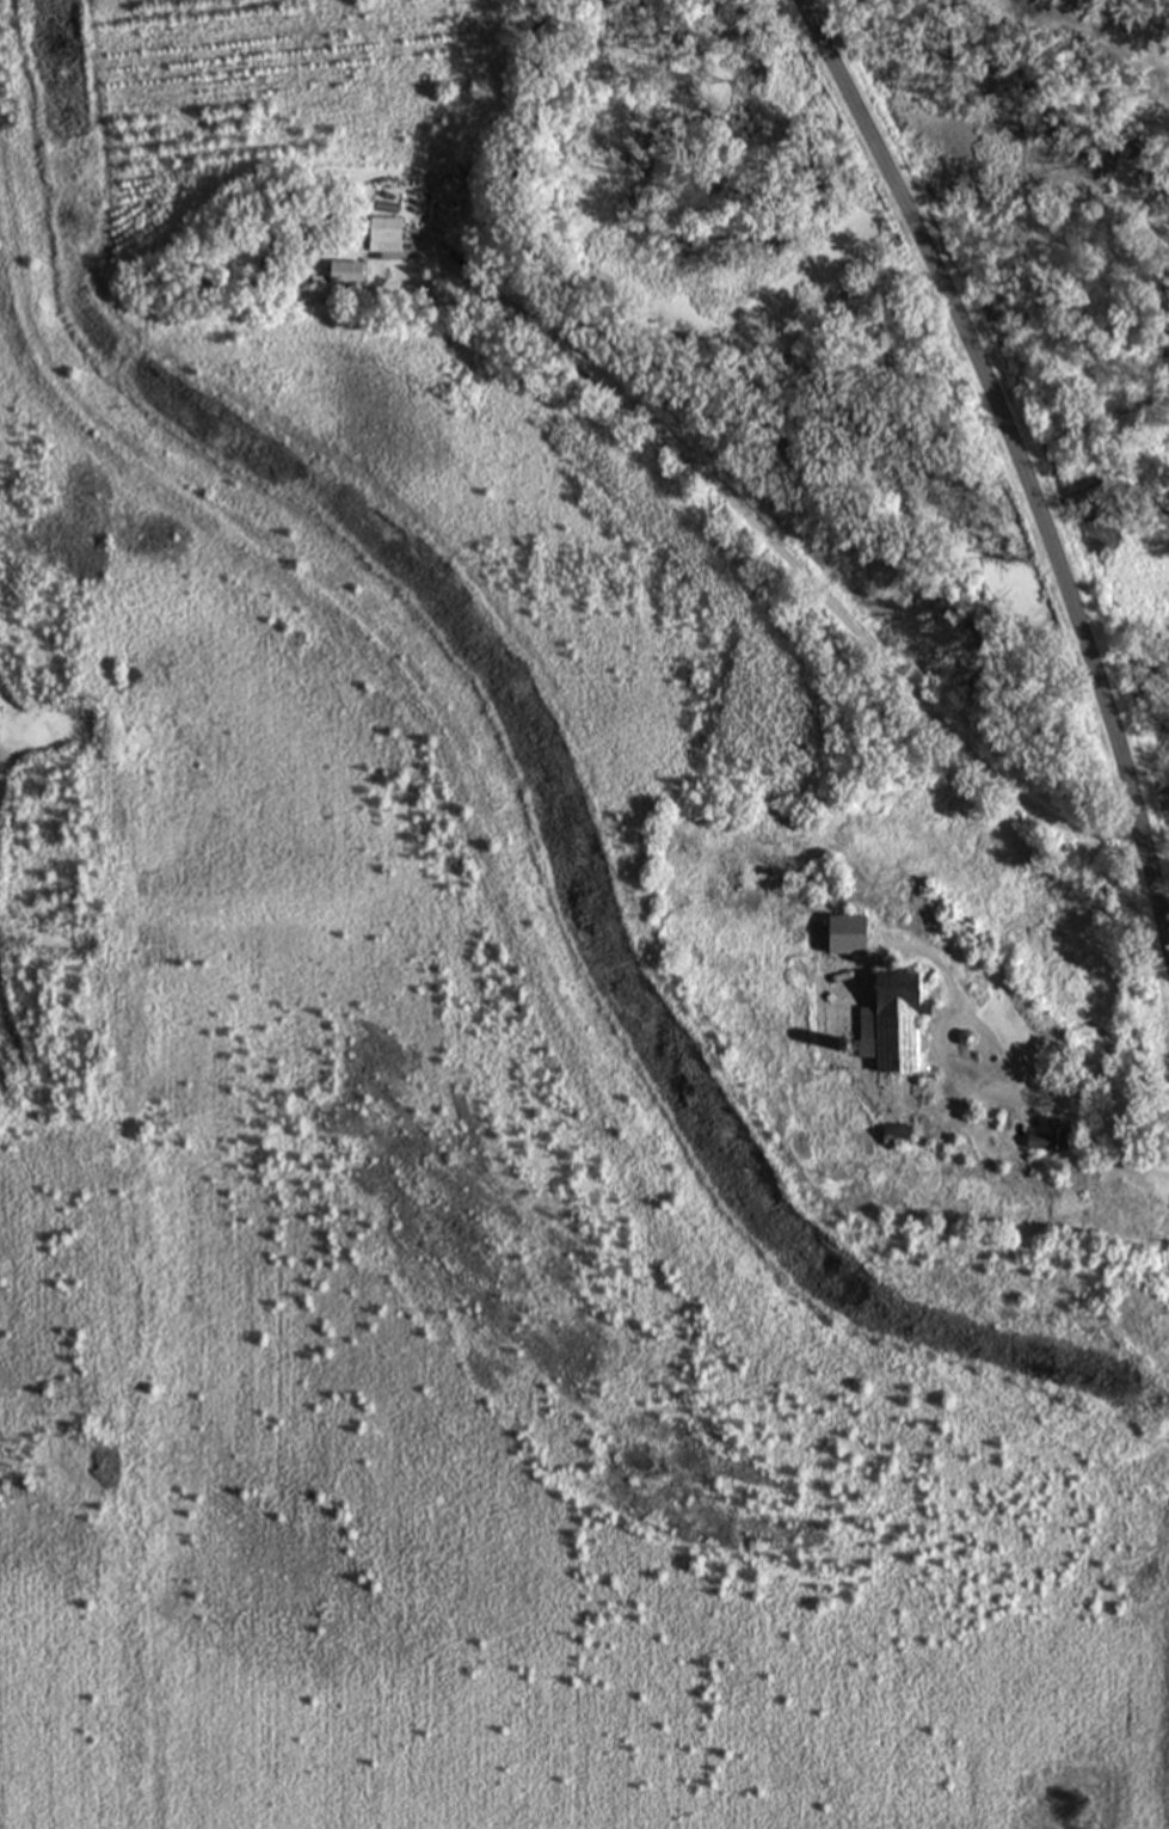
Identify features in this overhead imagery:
building: (382, 229)
building: (346, 274)
road: (1025, 465)
road: (762, 532)
building: (847, 933)
building: (898, 1019)
road: (940, 1044)
road: (1088, 1090)
building: (897, 1130)
building: (1048, 1136)

